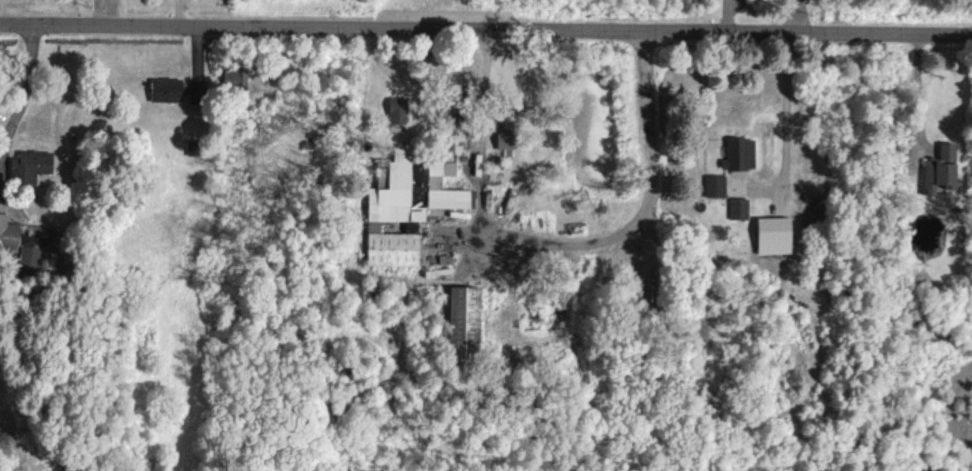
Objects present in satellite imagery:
road: (486, 20)
building: (234, 78)
road: (28, 88)
road: (921, 88)
building: (165, 89)
road: (790, 107)
building: (396, 109)
building: (505, 141)
building: (738, 153)
building: (29, 165)
building: (939, 168)
building: (434, 182)
building: (714, 184)
road: (643, 204)
building: (738, 207)
building: (393, 215)
building: (8, 233)
building: (772, 234)
building: (463, 325)

